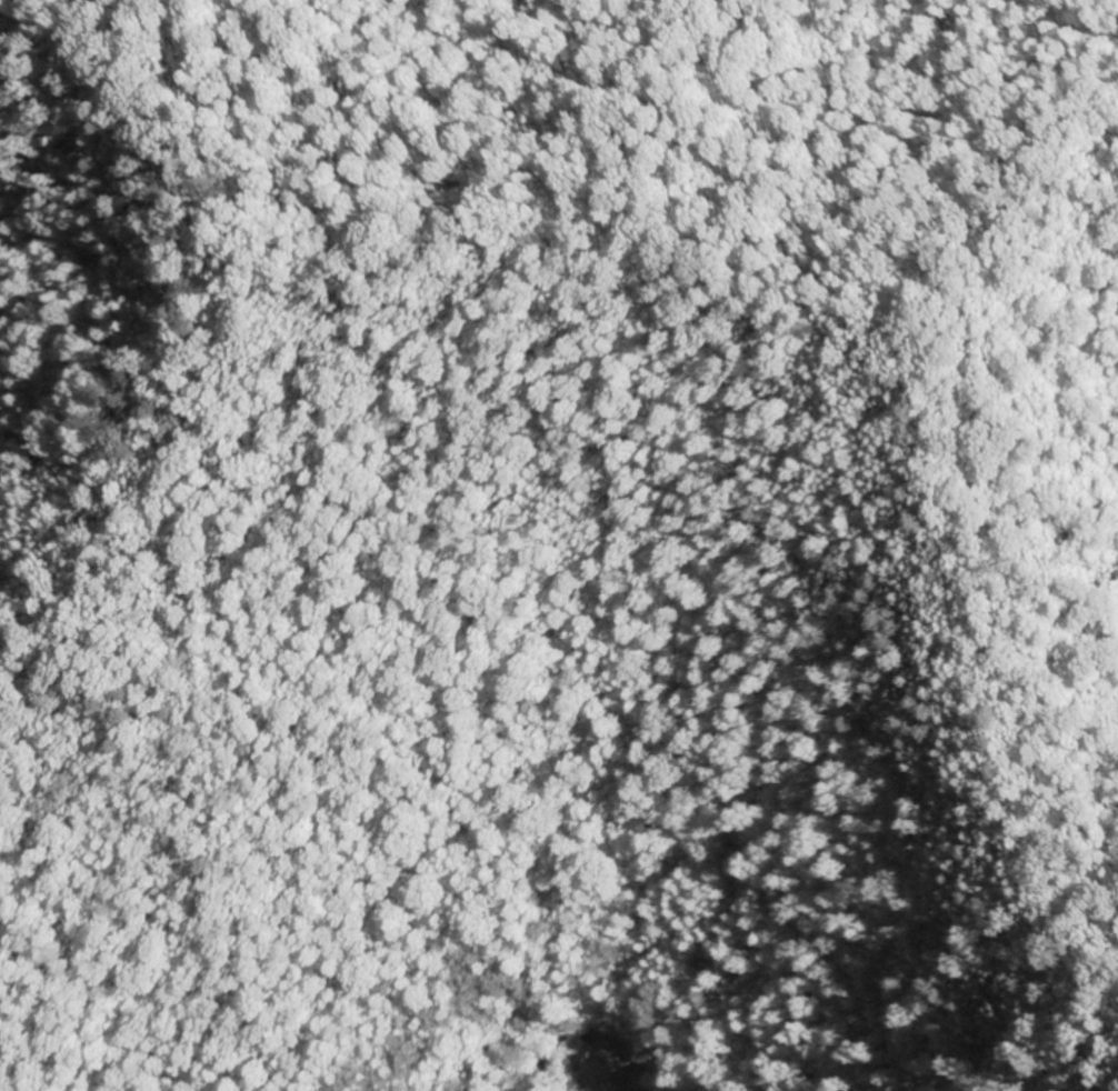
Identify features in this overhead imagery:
building: (599, 1069)

